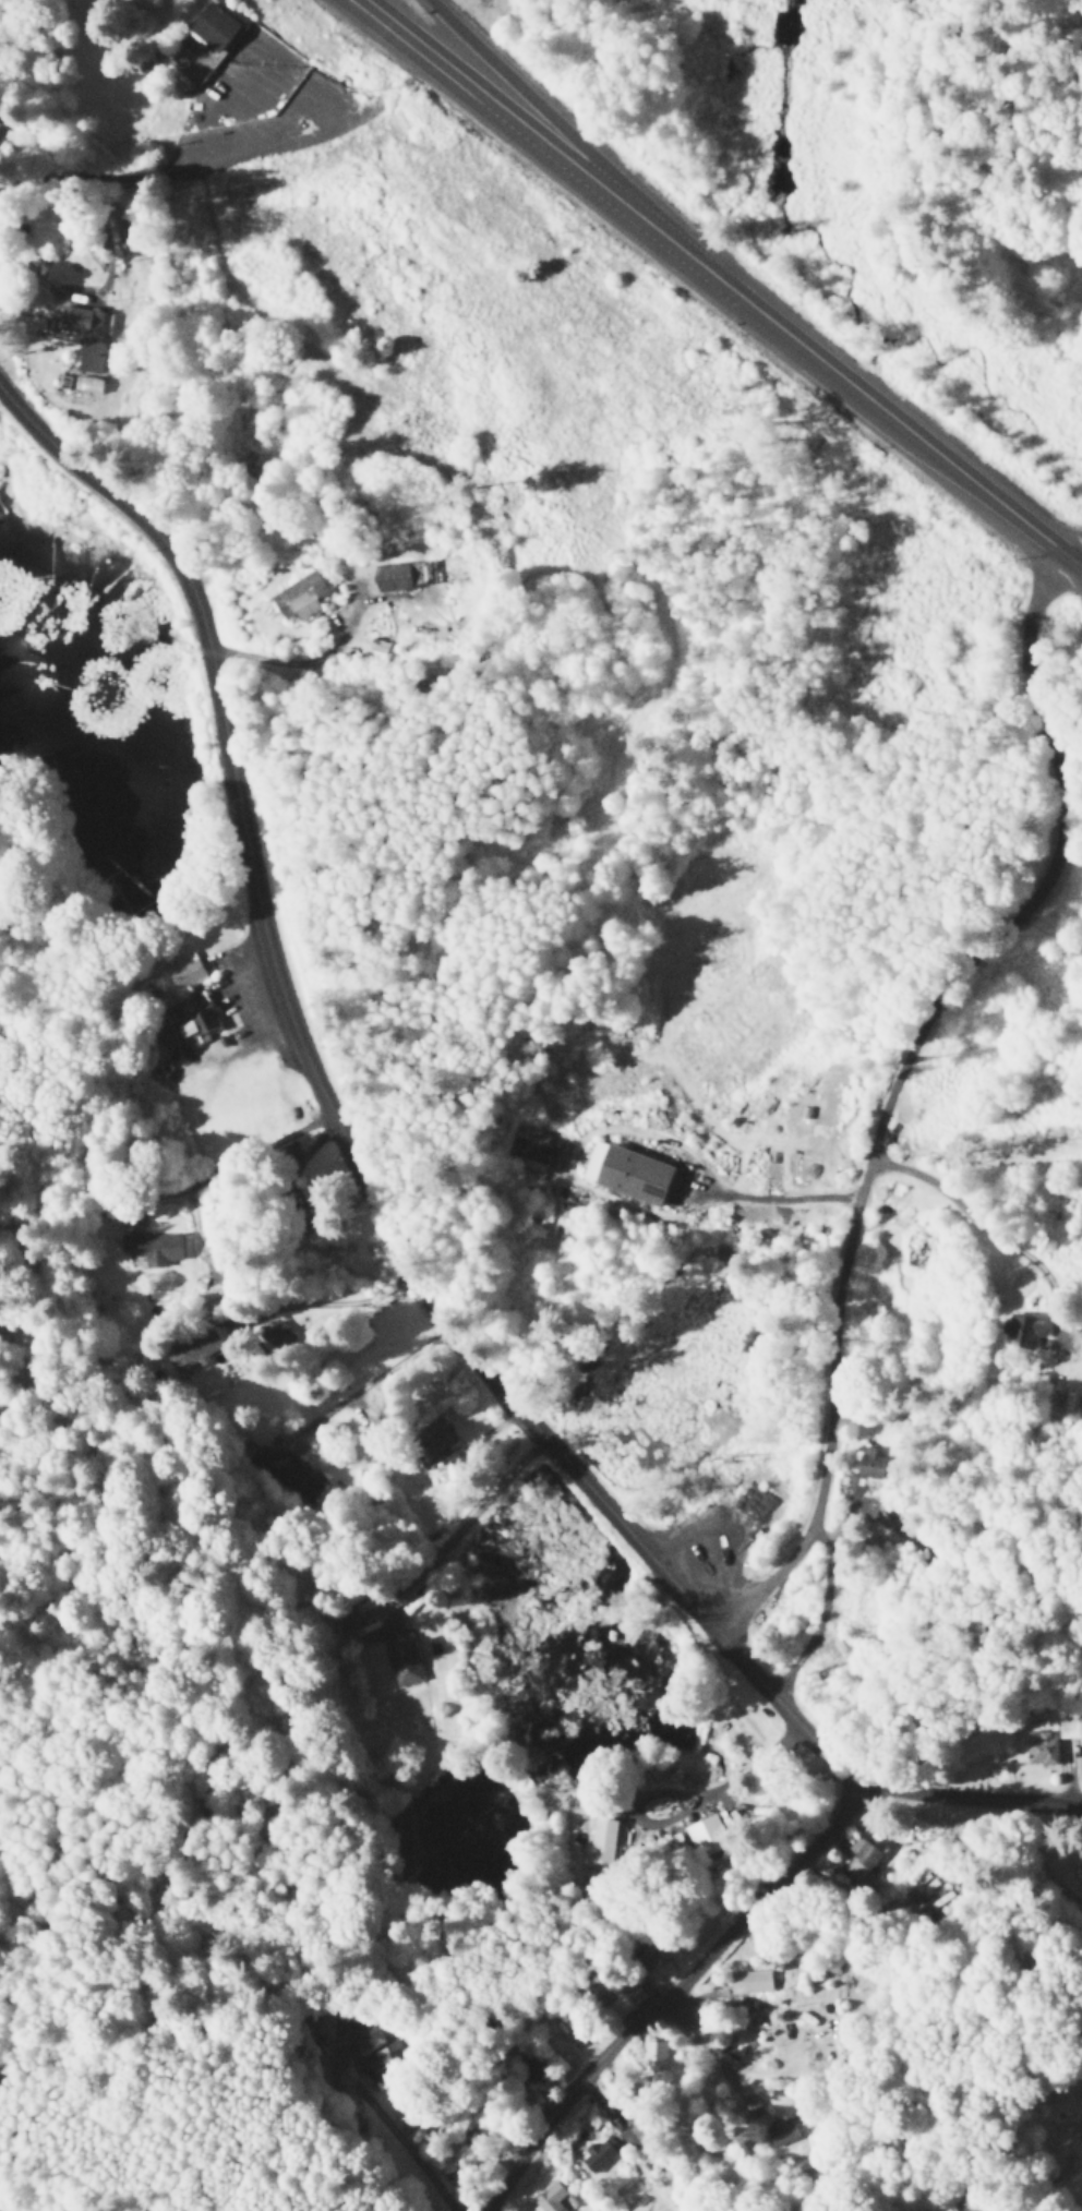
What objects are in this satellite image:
road: (381, 14)
road: (363, 15)
building: (205, 46)
parking lot: (257, 113)
road: (544, 119)
road: (532, 133)
road: (101, 177)
road: (188, 285)
building: (279, 292)
building: (91, 335)
road: (873, 405)
building: (405, 577)
building: (305, 598)
road: (166, 742)
building: (190, 972)
road: (1027, 990)
parking lot: (245, 1021)
building: (190, 1024)
road: (903, 1071)
road: (257, 1116)
building: (536, 1146)
building: (635, 1175)
road: (388, 1234)
building: (155, 1249)
building: (919, 1252)
building: (212, 1300)
building: (1030, 1333)
building: (277, 1337)
building: (195, 1351)
road: (380, 1377)
building: (440, 1437)
building: (460, 1463)
building: (873, 1465)
building: (288, 1478)
road: (459, 1528)
building: (401, 1653)
building: (820, 1691)
building: (1054, 1743)
building: (704, 1838)
building: (604, 1844)
building: (858, 1863)
building: (656, 1950)
building: (752, 1988)
road: (676, 2003)
building: (728, 2012)
building: (377, 2040)
road: (713, 2047)
building: (656, 2057)
building: (385, 2071)
building: (537, 2074)
building: (754, 2110)
building: (785, 2131)
building: (633, 2139)
building: (599, 2155)
building: (550, 2198)

